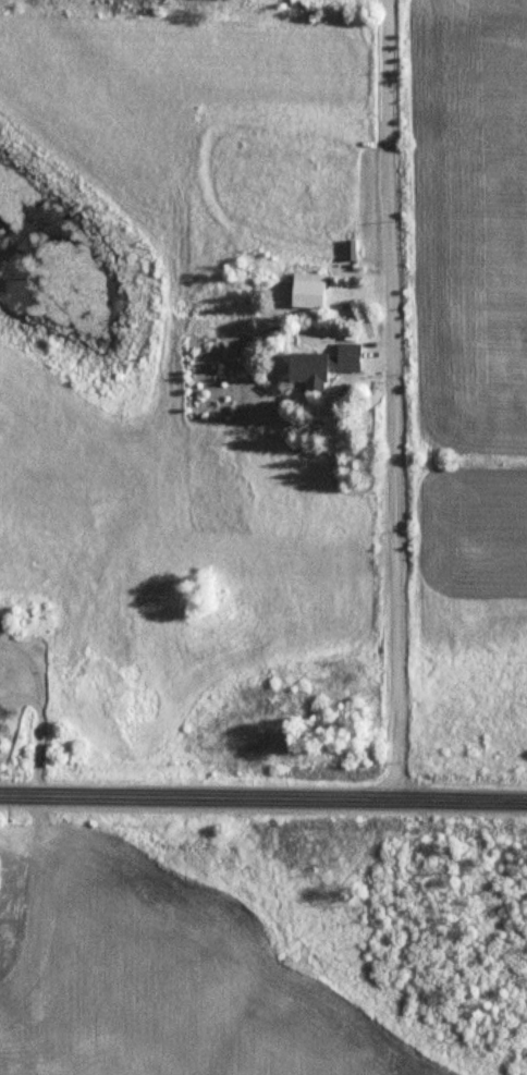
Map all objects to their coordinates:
building: (308, 289)
building: (321, 364)
road: (394, 399)
road: (263, 796)

